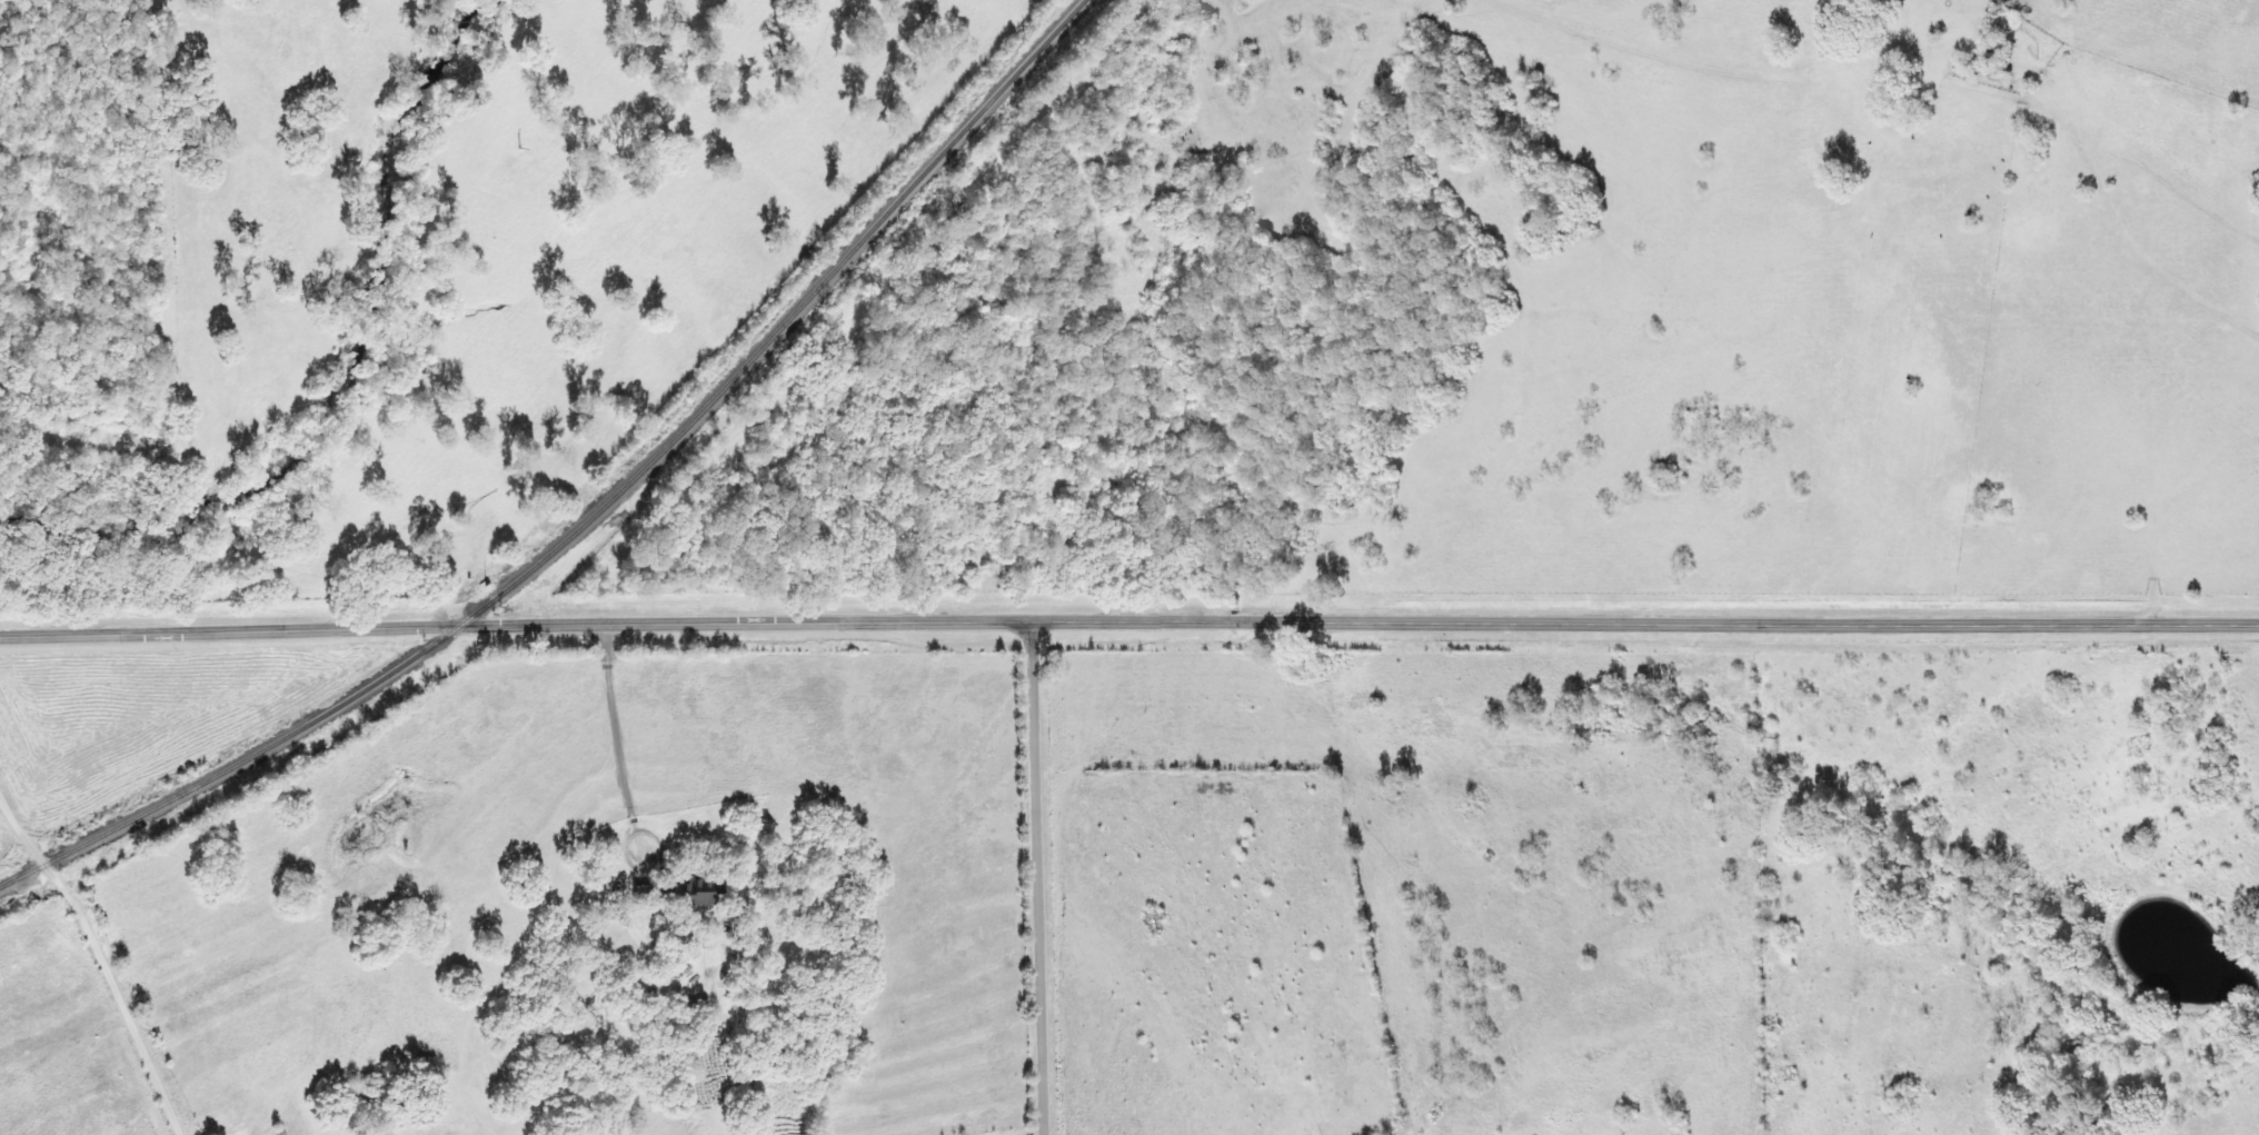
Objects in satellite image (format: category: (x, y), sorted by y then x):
railway: (598, 512)
road: (1128, 616)
road: (1042, 874)
building: (706, 887)
building: (660, 930)
road: (105, 960)

